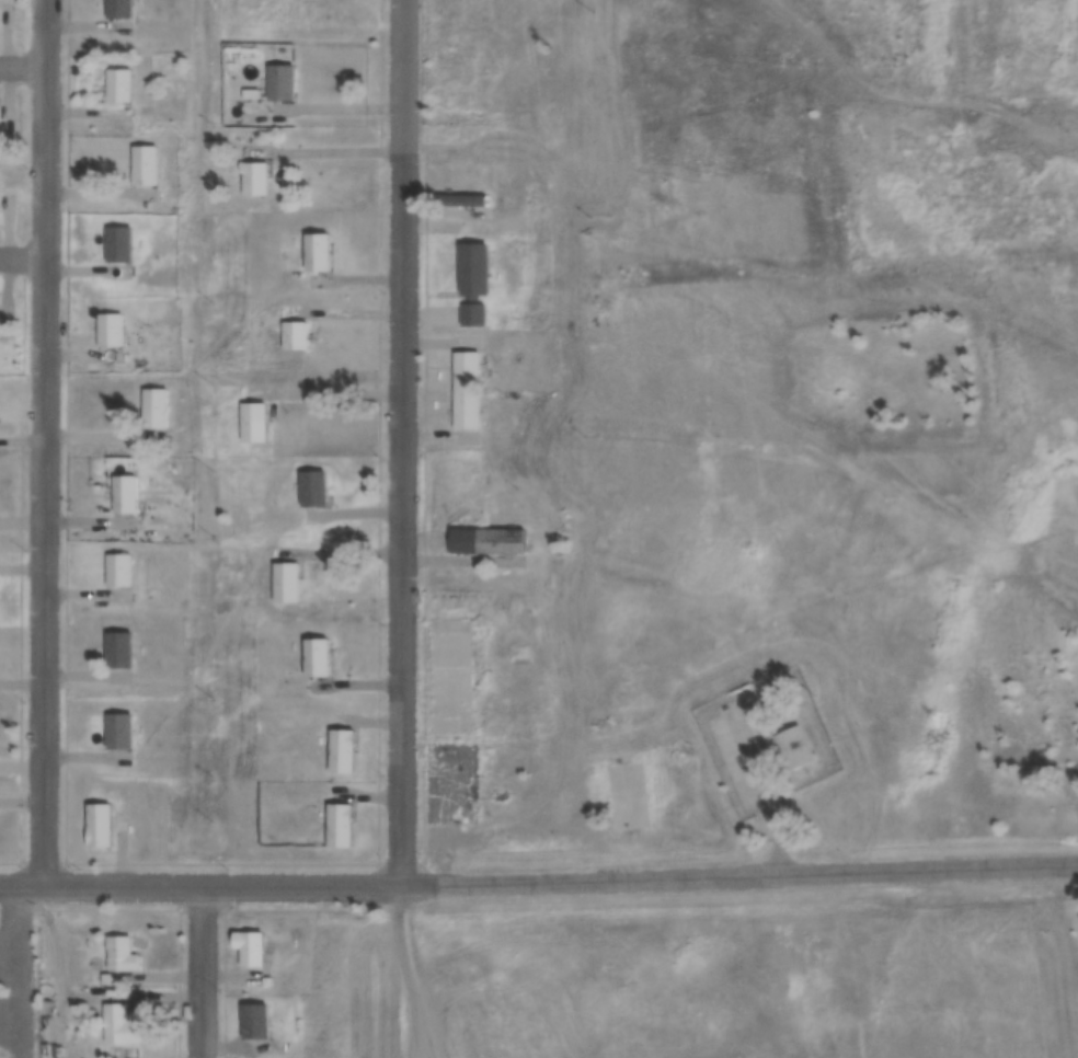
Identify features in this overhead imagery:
building: (249, 2)
building: (118, 8)
road: (22, 68)
building: (279, 81)
building: (118, 84)
road: (324, 156)
building: (144, 165)
building: (253, 179)
building: (460, 198)
building: (117, 243)
building: (316, 251)
road: (22, 258)
building: (471, 266)
building: (469, 311)
road: (424, 317)
building: (108, 330)
building: (295, 335)
building: (465, 389)
building: (153, 409)
building: (253, 422)
road: (44, 441)
road: (402, 441)
building: (312, 487)
building: (124, 495)
building: (486, 540)
building: (118, 571)
building: (285, 582)
building: (118, 649)
building: (316, 655)
building: (448, 675)
building: (118, 731)
building: (793, 747)
building: (341, 749)
parking lot: (450, 782)
building: (620, 818)
building: (99, 824)
building: (339, 824)
road: (737, 879)
road: (199, 884)
building: (99, 940)
building: (249, 946)
building: (121, 953)
road: (48, 970)
road: (202, 970)
road: (402, 971)
building: (105, 978)
parking lot: (19, 991)
building: (254, 1020)
building: (119, 1024)

